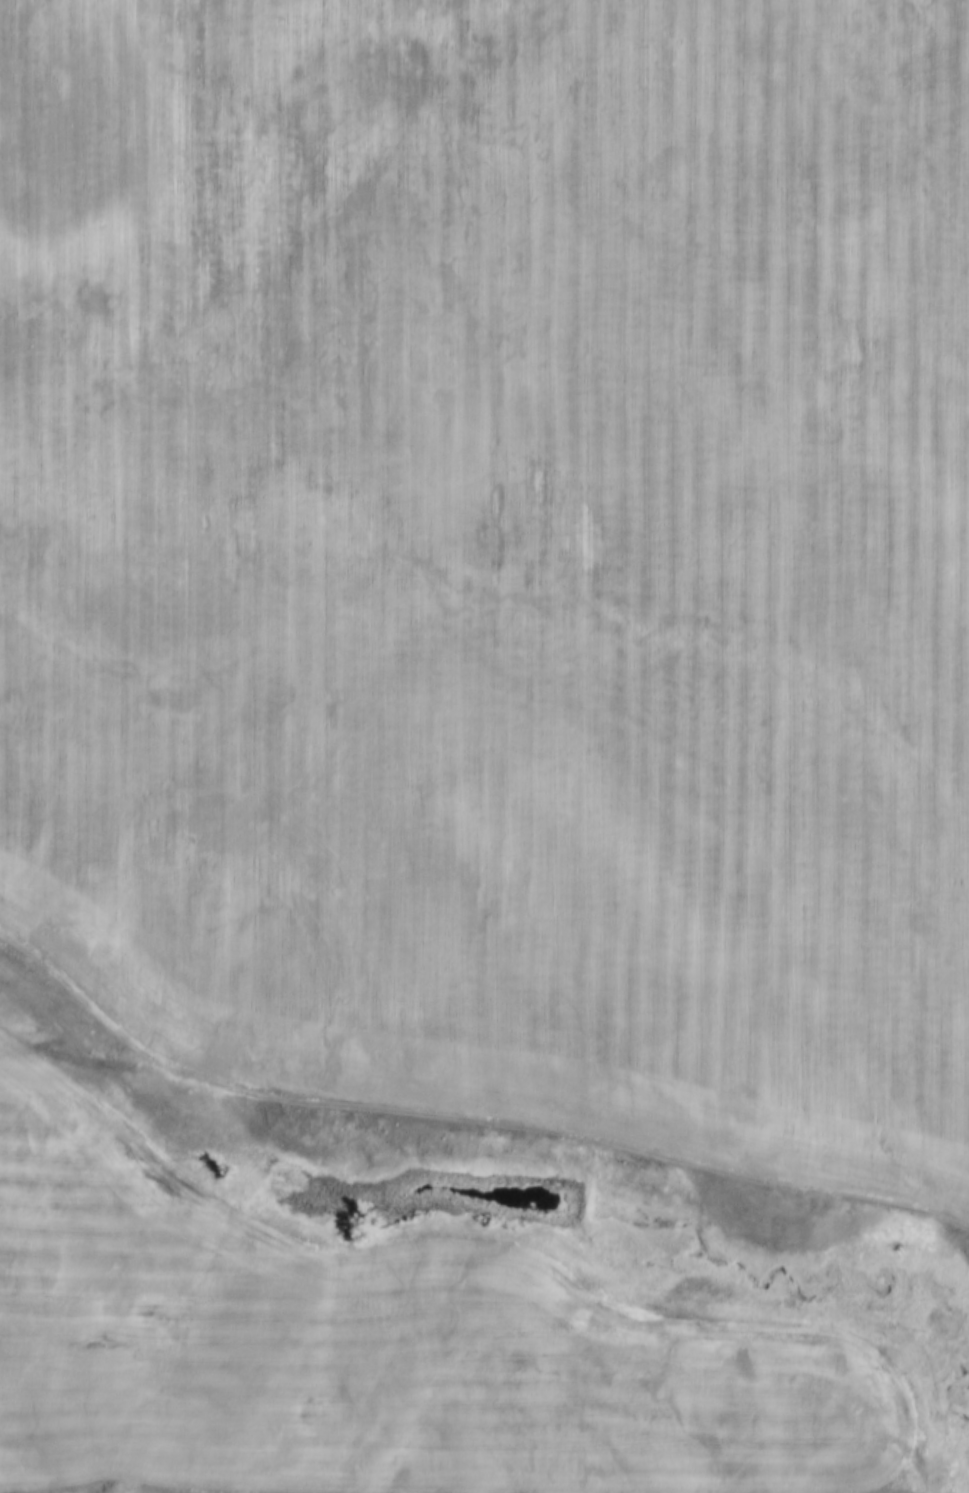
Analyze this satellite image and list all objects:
road: (45, 998)
road: (525, 1138)

